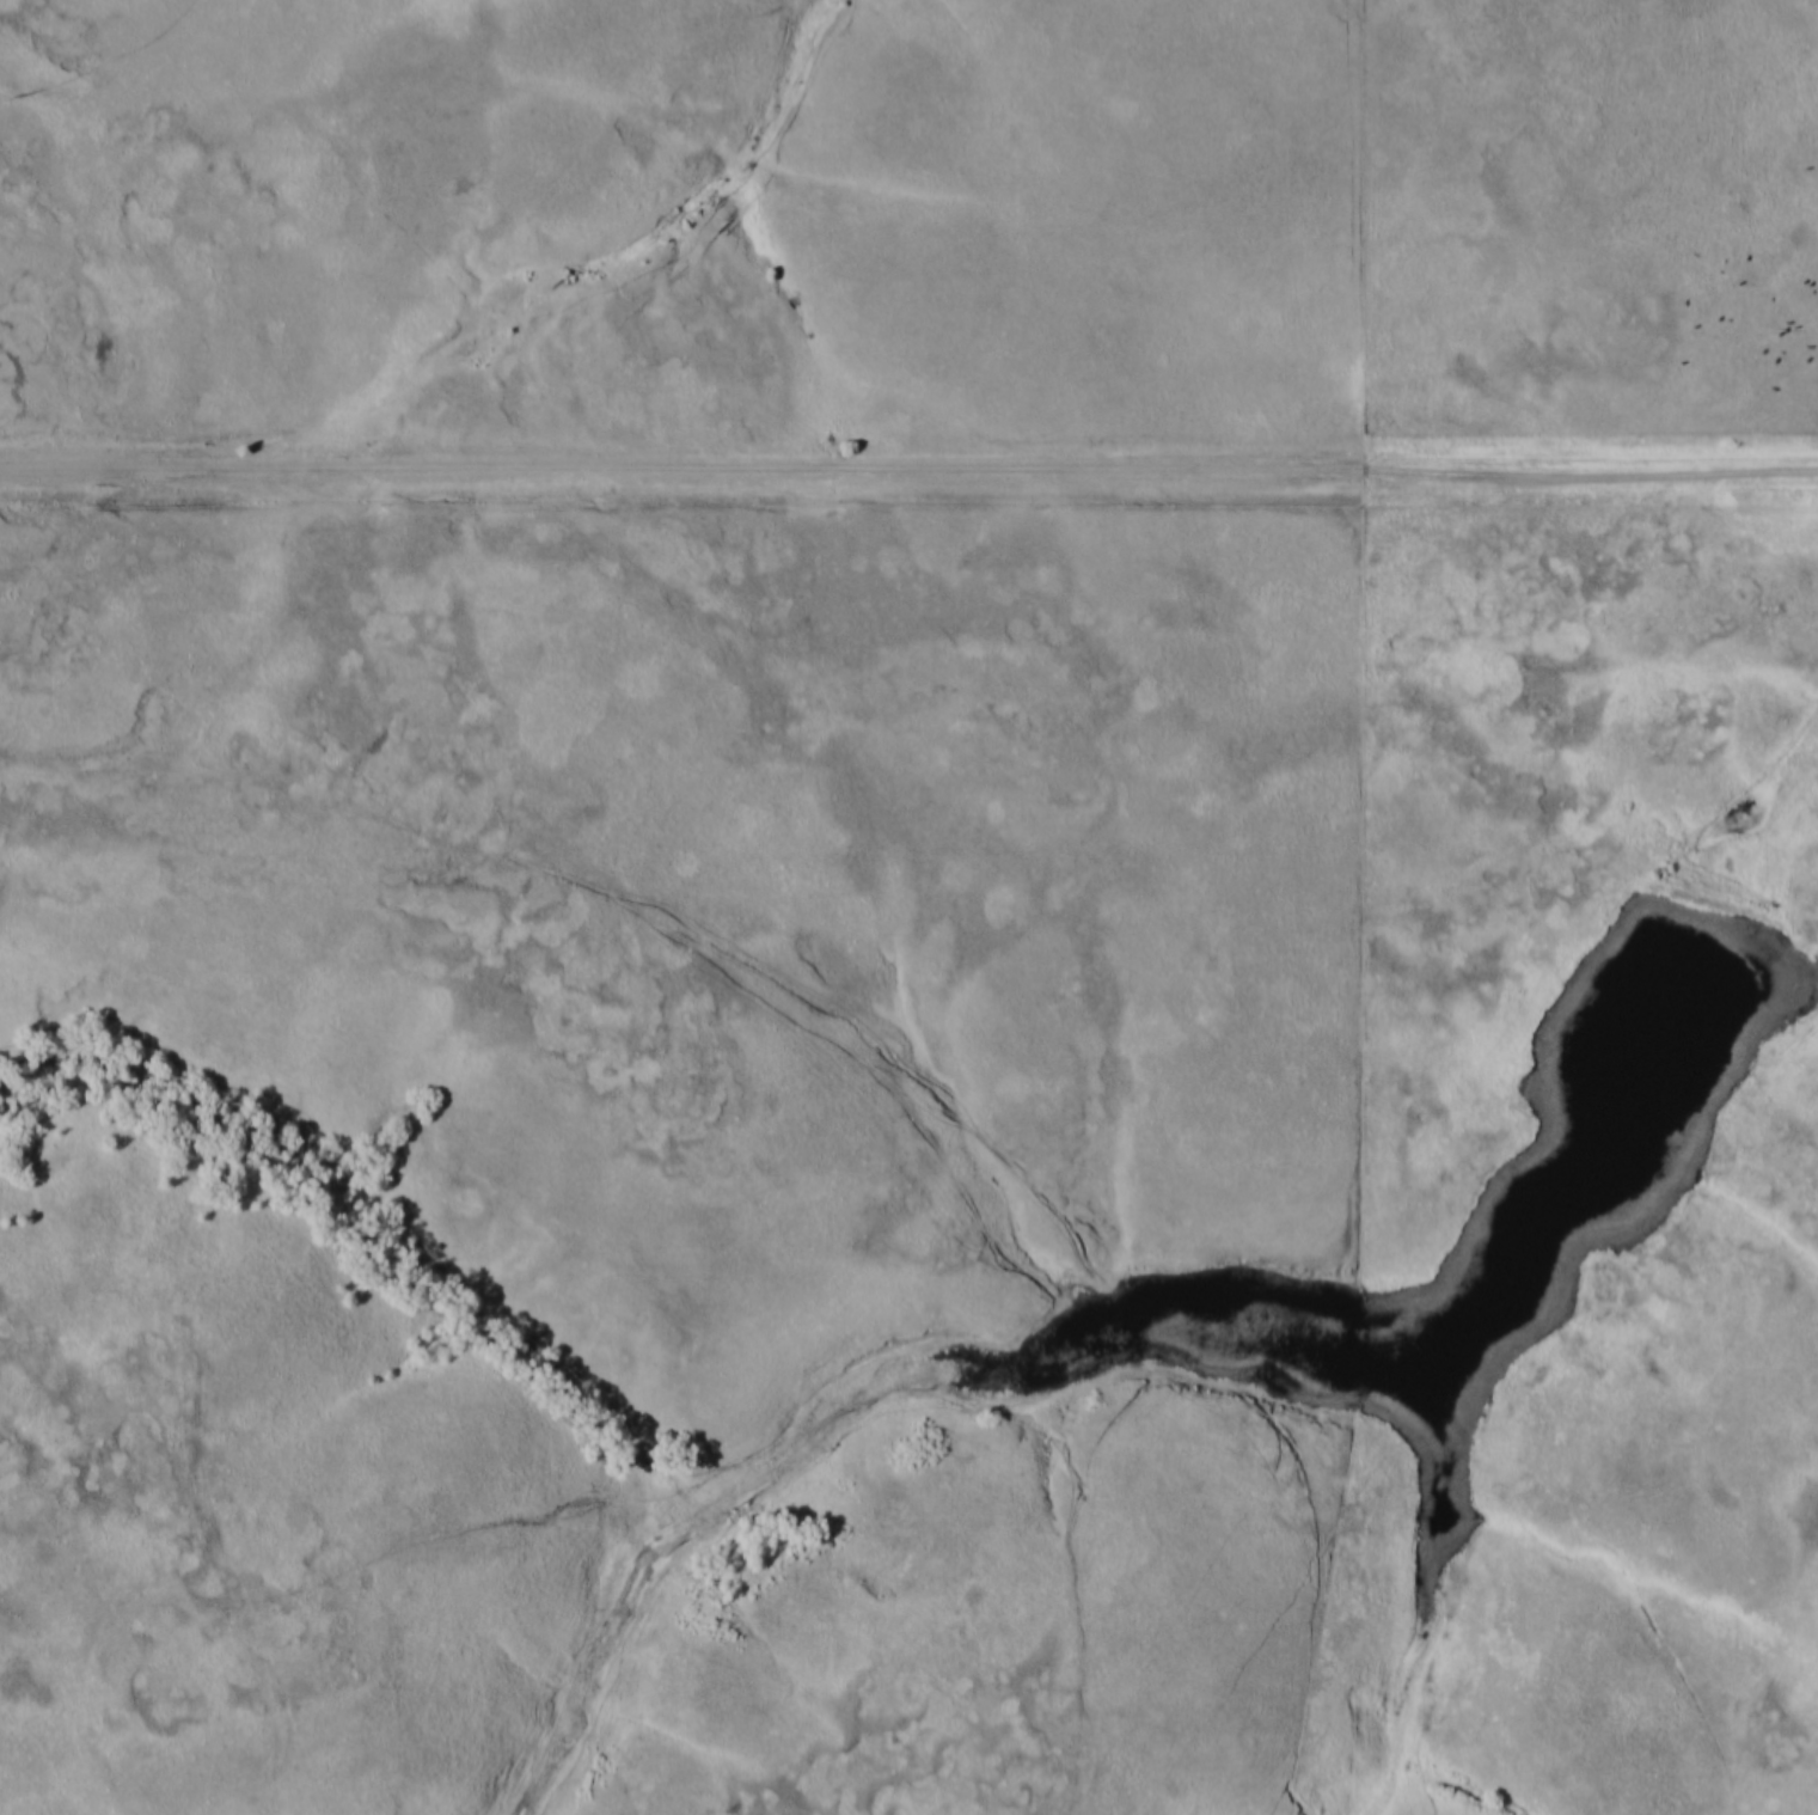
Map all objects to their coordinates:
road: (908, 466)
road: (1370, 646)
road: (1554, 989)

